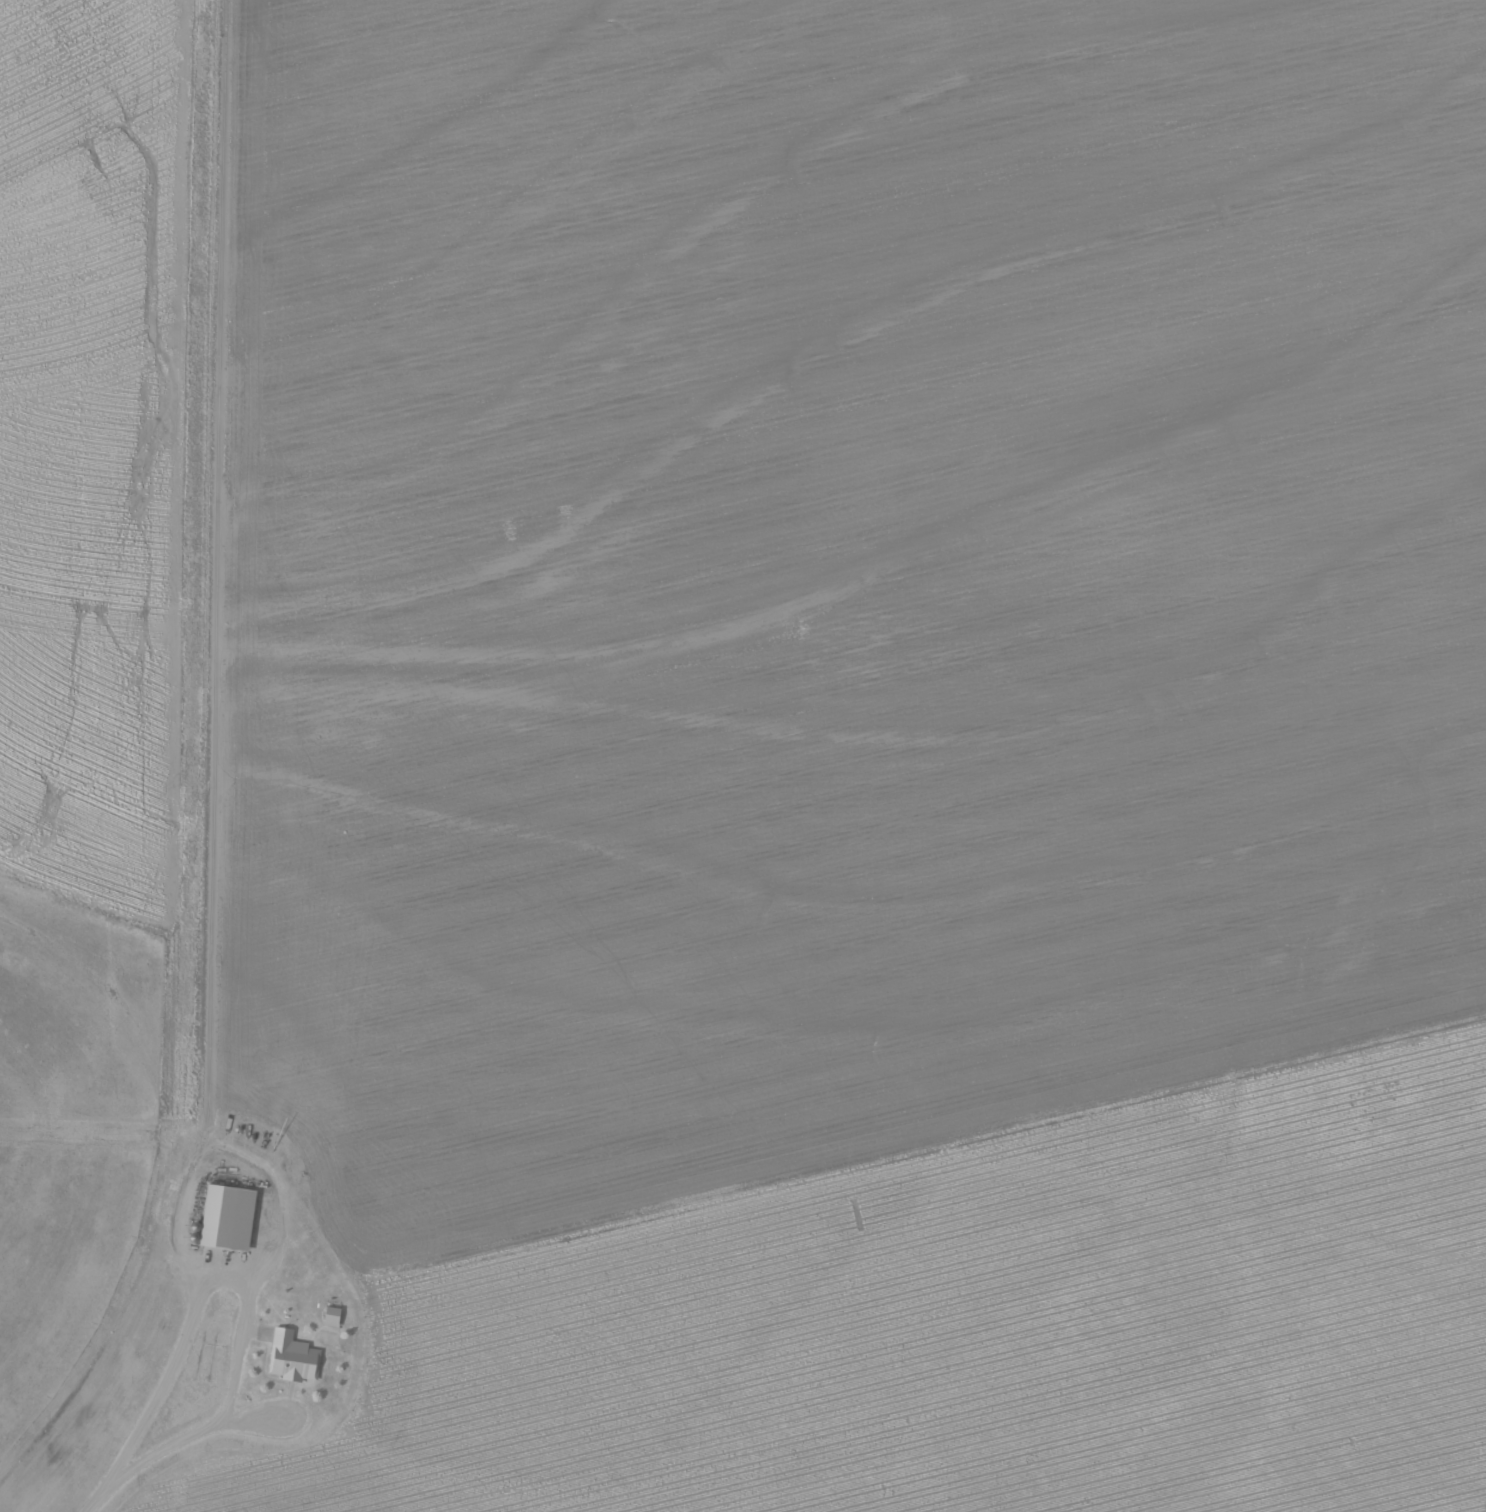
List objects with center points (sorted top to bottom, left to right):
building: (221, 1225)
building: (289, 1365)

